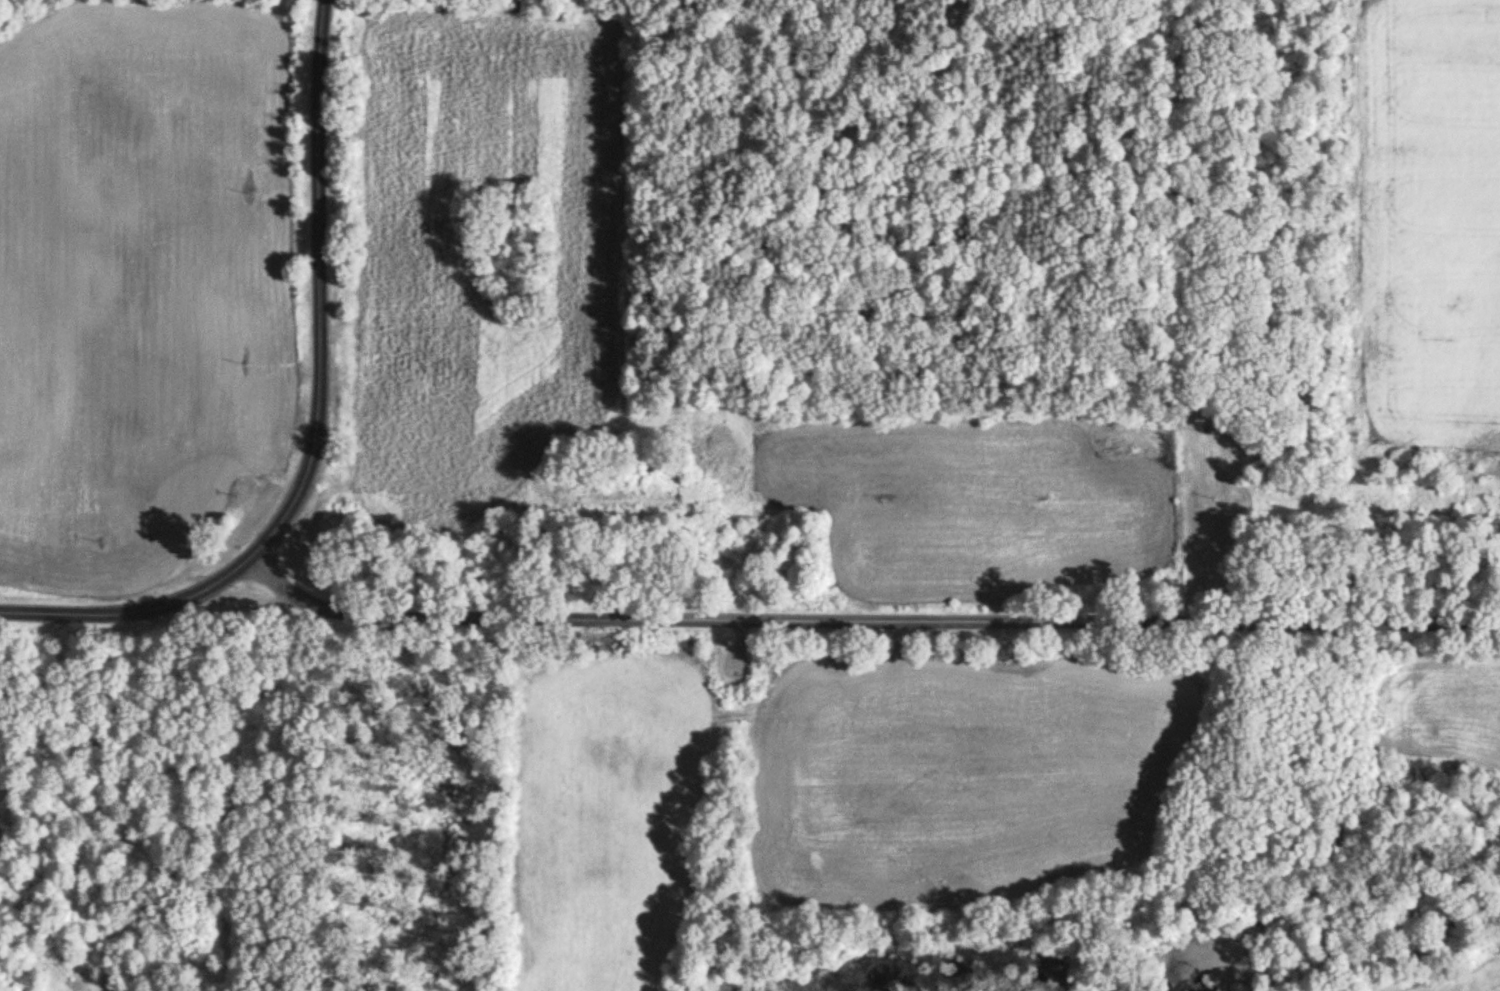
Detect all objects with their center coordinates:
road: (320, 288)
road: (135, 615)
road: (867, 624)

